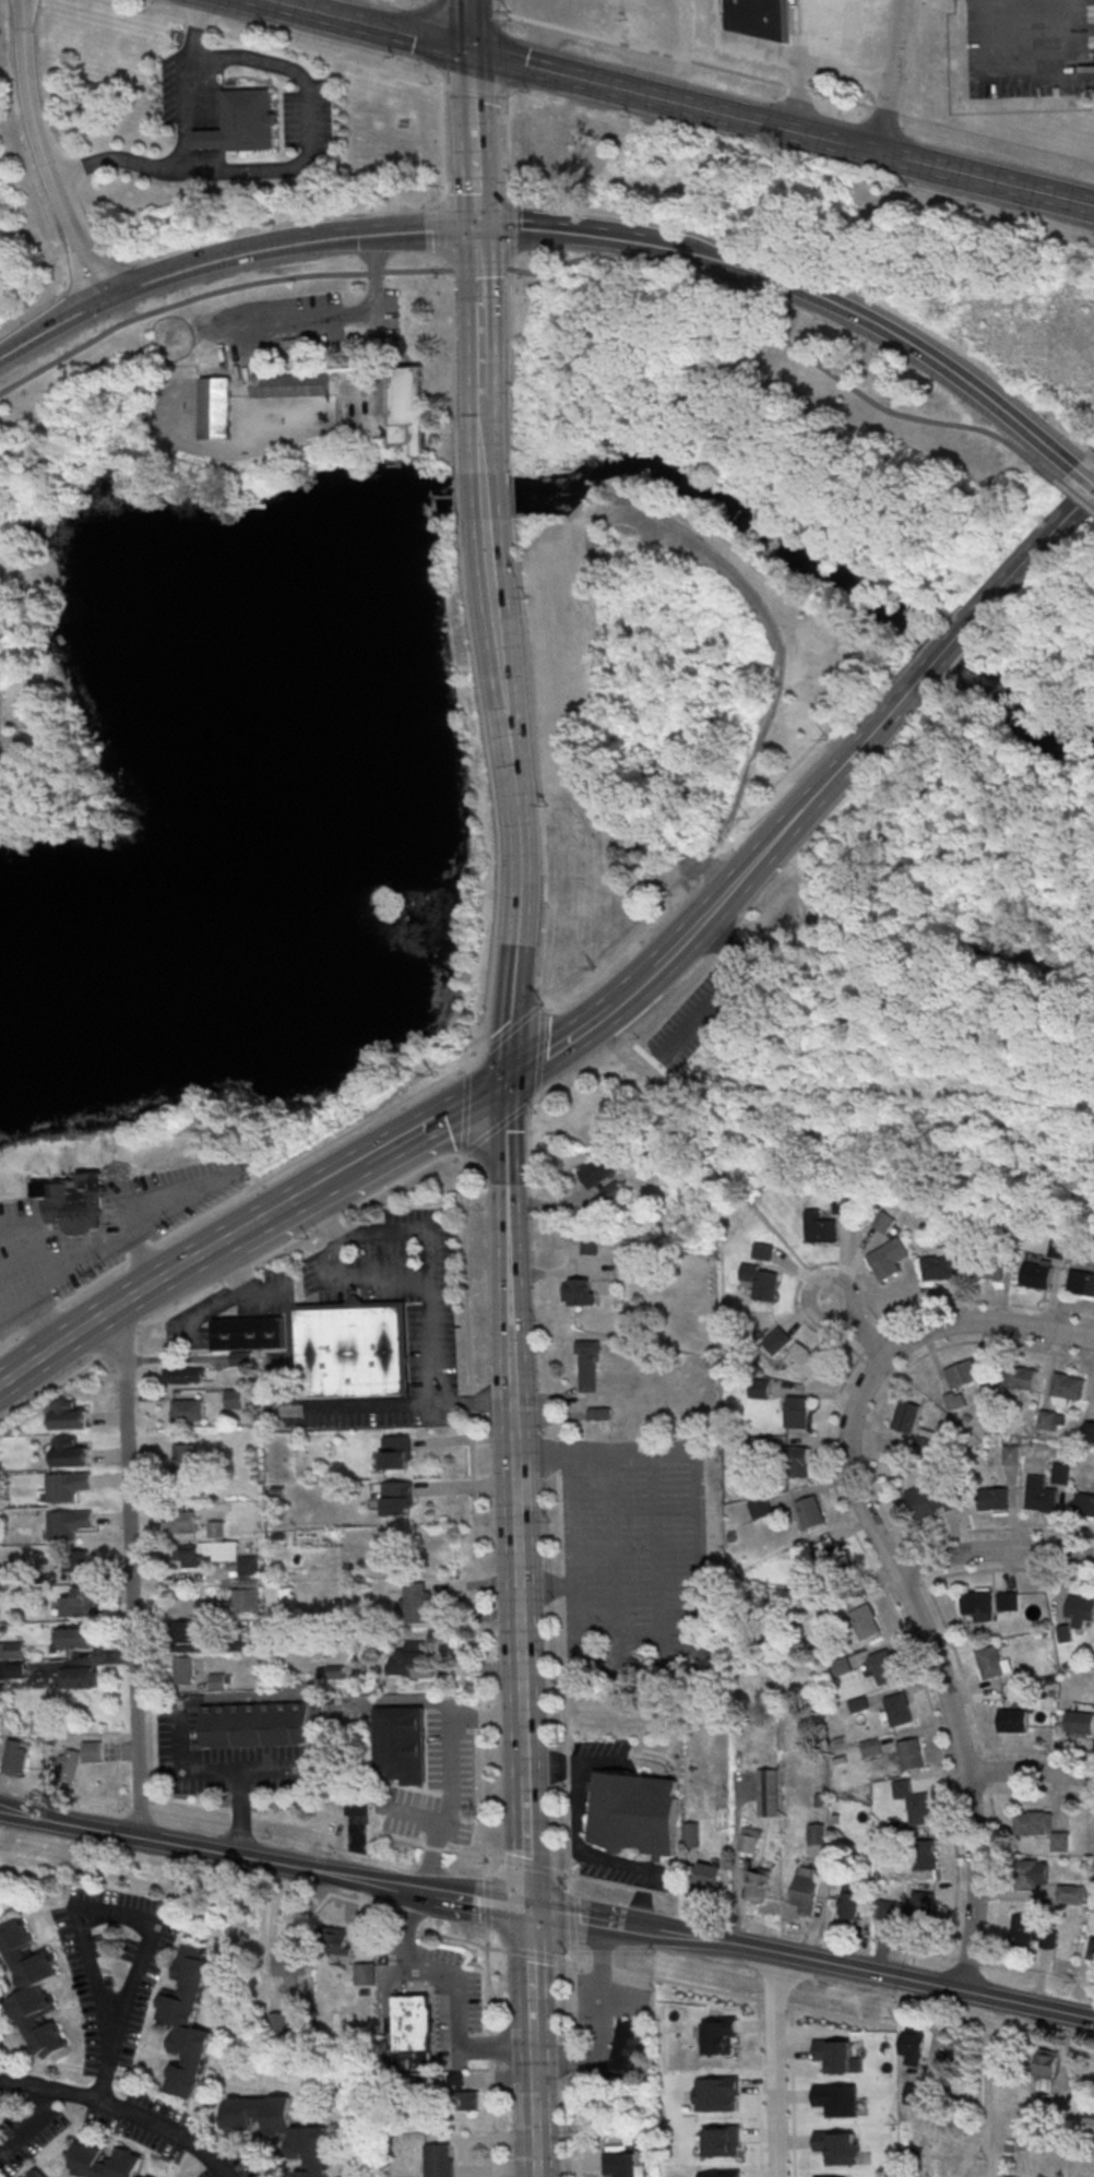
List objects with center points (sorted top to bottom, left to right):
road: (272, 1)
road: (464, 7)
road: (136, 12)
building: (759, 16)
road: (365, 25)
road: (468, 25)
road: (503, 25)
road: (199, 28)
road: (435, 35)
parking lot: (1031, 48)
road: (641, 50)
traffic signals: (468, 51)
road: (330, 61)
road: (506, 68)
road: (551, 72)
road: (469, 74)
road: (895, 75)
road: (478, 95)
road: (831, 97)
road: (180, 108)
road: (887, 112)
building: (242, 123)
road: (441, 132)
road: (997, 139)
road: (865, 147)
road: (38, 154)
road: (298, 157)
road: (473, 164)
road: (440, 226)
traffic signals: (475, 230)
road: (574, 231)
road: (387, 234)
road: (479, 269)
road: (142, 281)
road: (510, 284)
road: (215, 290)
road: (478, 313)
road: (281, 322)
road: (374, 329)
road: (889, 331)
park: (24, 337)
road: (788, 345)
road: (456, 361)
building: (292, 384)
building: (409, 407)
building: (217, 408)
road: (484, 433)
road: (1085, 472)
road: (1078, 492)
dam: (455, 493)
road: (516, 493)
road: (463, 496)
road: (487, 496)
river: (497, 496)
river: (747, 521)
building: (628, 539)
road: (1034, 550)
road: (20, 567)
road: (492, 584)
river: (951, 649)
road: (946, 651)
park: (96, 665)
road: (778, 669)
road: (23, 683)
parking lot: (0, 695)
river: (1024, 719)
park: (649, 725)
road: (46, 741)
road: (539, 765)
road: (489, 778)
road: (12, 784)
road: (820, 788)
pier: (206, 801)
pier: (167, 812)
road: (64, 813)
river: (308, 821)
road: (520, 863)
parking lot: (695, 864)
road: (876, 921)
road: (691, 928)
road: (633, 987)
road: (724, 992)
road: (881, 1010)
road: (543, 1011)
road: (545, 1012)
parking lot: (695, 1021)
road: (895, 1022)
road: (514, 1034)
road: (560, 1045)
road: (486, 1056)
road: (483, 1057)
road: (542, 1058)
building: (694, 1068)
road: (593, 1075)
road: (669, 1079)
traffic signals: (507, 1081)
road: (949, 1085)
road: (535, 1104)
road: (388, 1111)
road: (435, 1120)
road: (544, 1120)
road: (707, 1162)
road: (338, 1174)
building: (602, 1178)
building: (76, 1201)
road: (358, 1206)
road: (273, 1210)
road: (504, 1216)
building: (819, 1227)
building: (592, 1244)
road: (429, 1247)
building: (1056, 1249)
road: (142, 1251)
road: (331, 1257)
building: (887, 1259)
building: (938, 1265)
building: (987, 1268)
road: (239, 1272)
road: (839, 1275)
building: (1035, 1276)
road: (381, 1281)
building: (761, 1281)
road: (93, 1282)
building: (1081, 1284)
parking lot: (43, 1286)
building: (579, 1292)
road: (116, 1306)
road: (183, 1308)
road: (41, 1316)
building: (250, 1335)
road: (12, 1336)
building: (777, 1337)
road: (118, 1341)
building: (353, 1354)
building: (239, 1358)
building: (802, 1358)
building: (588, 1365)
building: (962, 1373)
building: (186, 1375)
road: (510, 1377)
building: (1018, 1377)
building: (1066, 1388)
road: (50, 1391)
building: (235, 1399)
building: (954, 1400)
road: (473, 1402)
road: (369, 1405)
building: (189, 1412)
building: (796, 1412)
building: (905, 1416)
building: (71, 1418)
building: (1087, 1431)
road: (472, 1437)
building: (1010, 1453)
building: (396, 1454)
building: (72, 1456)
building: (798, 1461)
building: (185, 1467)
building: (1061, 1473)
building: (69, 1487)
building: (1041, 1497)
building: (992, 1499)
building: (399, 1500)
building: (923, 1501)
building: (1084, 1507)
building: (760, 1508)
building: (809, 1511)
building: (181, 1524)
building: (69, 1525)
building: (217, 1531)
road: (991, 1550)
building: (829, 1554)
building: (218, 1557)
road: (613, 1557)
road: (515, 1558)
building: (79, 1560)
road: (655, 1561)
road: (888, 1561)
road: (132, 1567)
road: (543, 1595)
building: (1007, 1601)
building: (236, 1603)
building: (977, 1603)
building: (80, 1605)
building: (418, 1605)
building: (1080, 1610)
building: (865, 1621)
building: (186, 1634)
building: (78, 1640)
road: (704, 1640)
building: (241, 1643)
building: (13, 1651)
building: (409, 1658)
building: (992, 1662)
building: (882, 1666)
building: (13, 1672)
building: (185, 1672)
building: (80, 1679)
building: (221, 1682)
road: (564, 1682)
road: (309, 1693)
road: (400, 1700)
building: (899, 1709)
building: (347, 1710)
building: (1012, 1720)
road: (481, 1722)
building: (1080, 1722)
building: (258, 1725)
road: (522, 1745)
building: (403, 1747)
building: (870, 1747)
building: (92, 1753)
building: (909, 1753)
building: (15, 1760)
road: (447, 1765)
building: (69, 1766)
road: (1028, 1771)
building: (766, 1793)
road: (484, 1806)
building: (919, 1808)
road: (237, 1812)
road: (411, 1813)
building: (634, 1813)
building: (1034, 1822)
road: (69, 1824)
building: (359, 1824)
building: (691, 1833)
building: (816, 1833)
building: (749, 1839)
road: (582, 1842)
road: (525, 1843)
building: (925, 1854)
road: (285, 1865)
road: (521, 1867)
building: (1033, 1873)
building: (709, 1876)
building: (758, 1884)
road: (155, 1885)
building: (806, 1890)
building: (1071, 1892)
road: (479, 1902)
building: (849, 1902)
building: (919, 1904)
road: (488, 1905)
traffic signals: (528, 1911)
road: (574, 1919)
road: (573, 1922)
road: (148, 1927)
building: (1032, 1932)
road: (271, 1939)
building: (336, 1943)
road: (464, 1944)
building: (1092, 1953)
road: (533, 1956)
road: (792, 1958)
road: (986, 1960)
building: (290, 1965)
building: (366, 1976)
road: (528, 1977)
road: (456, 1980)
building: (31, 1987)
road: (726, 1991)
road: (1027, 2004)
road: (595, 2020)
building: (189, 2021)
building: (413, 2024)
building: (278, 2027)
building: (913, 2045)
building: (627, 2049)
road: (492, 2054)
road: (578, 2061)
road: (777, 2065)
road: (532, 2072)
building: (1047, 2072)
building: (456, 2080)
building: (917, 2094)
building: (466, 2099)
road: (120, 2113)
building: (1091, 2124)
road: (31, 2126)
building: (282, 2130)
road: (534, 2138)
building: (440, 2162)
building: (623, 2162)
building: (106, 2163)
building: (36, 2174)

